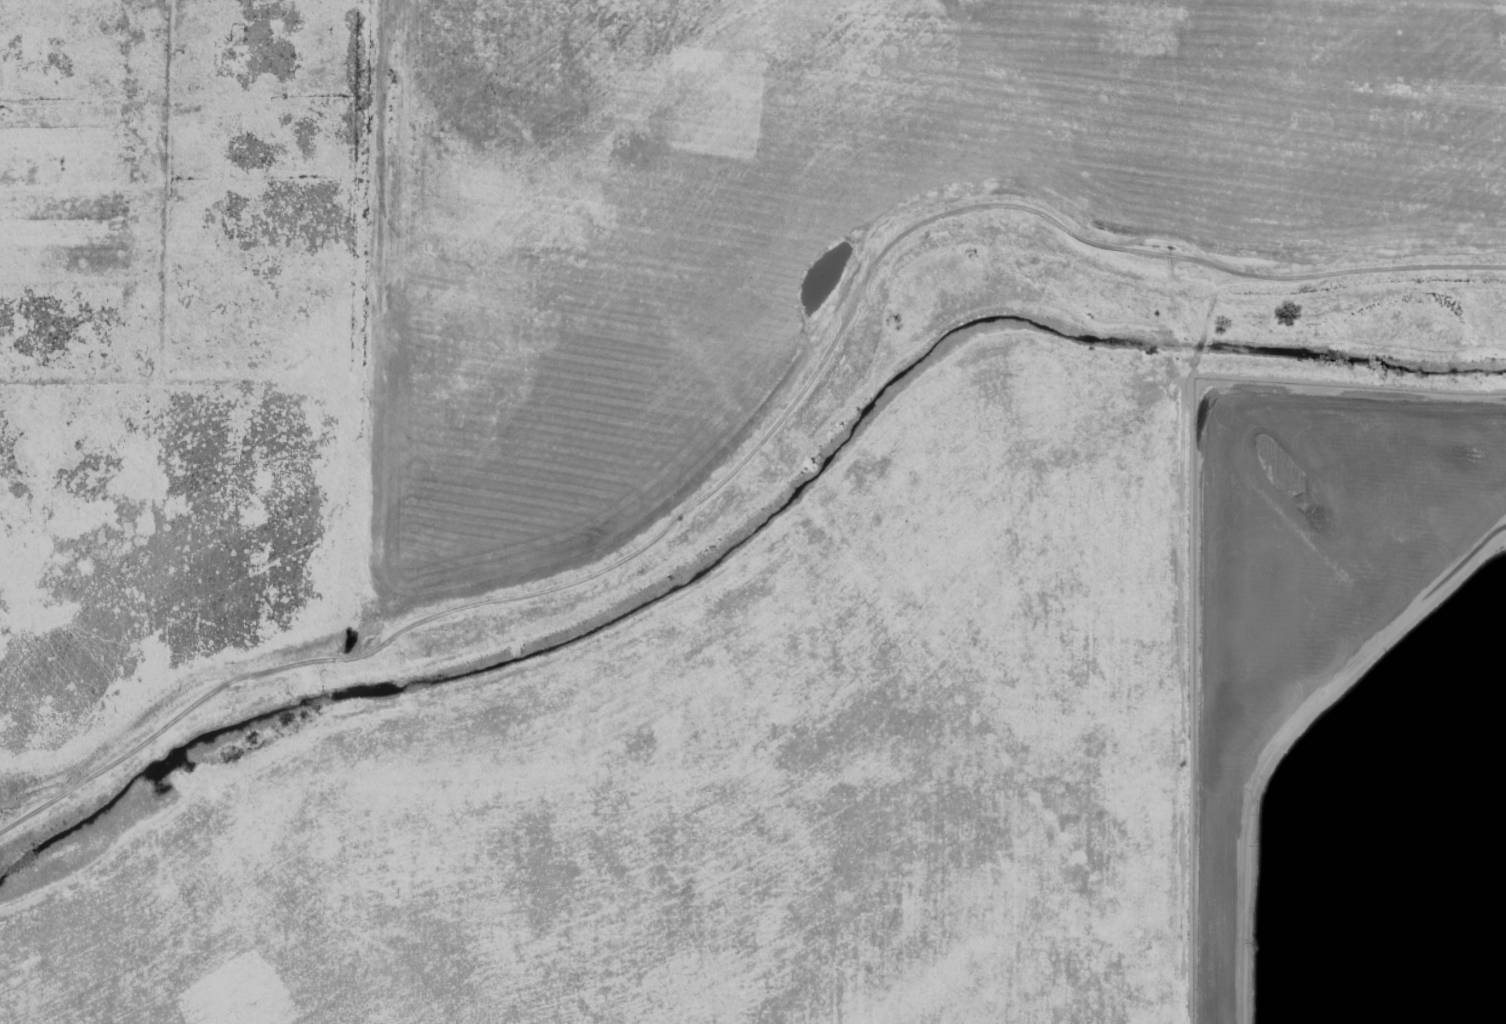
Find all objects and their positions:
river: (759, 475)

